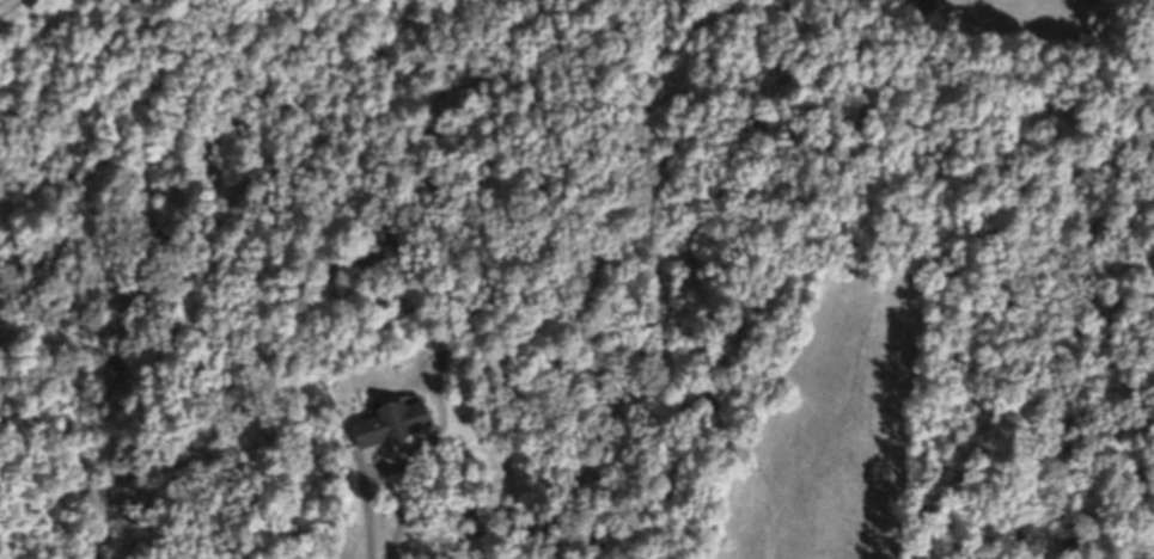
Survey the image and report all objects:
road: (591, 270)
building: (393, 422)
road: (398, 459)
road: (401, 511)

